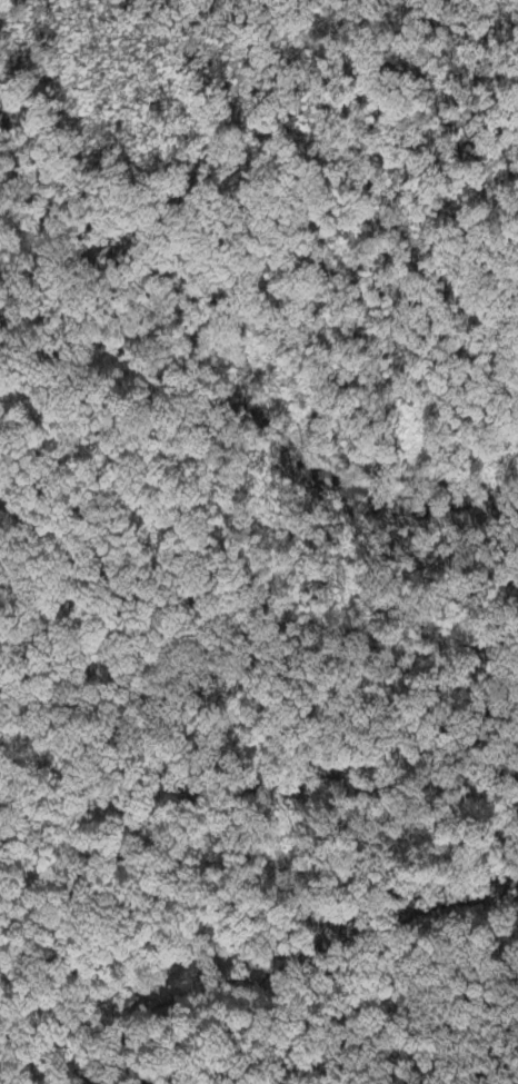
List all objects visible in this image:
road: (424, 137)
road: (251, 514)
park: (259, 541)

